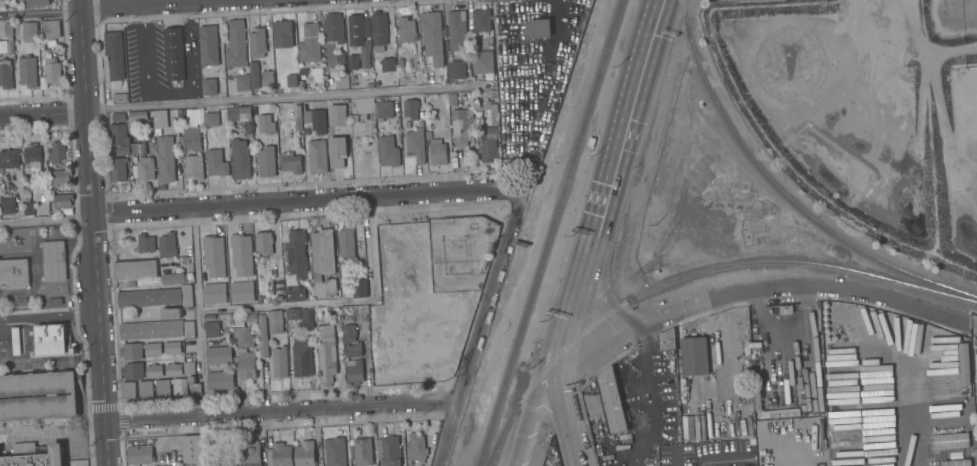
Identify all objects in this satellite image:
building: (37, 2)
road: (141, 3)
road: (39, 12)
building: (482, 25)
building: (333, 28)
building: (51, 29)
building: (538, 29)
building: (8, 30)
building: (378, 30)
building: (406, 30)
building: (457, 30)
building: (727, 30)
building: (739, 30)
building: (27, 31)
building: (282, 34)
building: (432, 36)
building: (360, 37)
building: (257, 43)
building: (236, 44)
building: (310, 44)
building: (208, 45)
road: (553, 49)
building: (174, 54)
building: (114, 57)
building: (340, 57)
building: (400, 62)
building: (482, 62)
building: (790, 63)
building: (388, 64)
building: (52, 69)
building: (456, 70)
building: (27, 72)
building: (5, 74)
building: (254, 74)
building: (267, 78)
building: (291, 81)
building: (242, 82)
building: (209, 86)
building: (120, 97)
building: (444, 97)
building: (475, 98)
road: (290, 99)
building: (452, 99)
building: (410, 109)
building: (384, 110)
building: (239, 113)
road: (42, 114)
building: (182, 115)
building: (337, 115)
building: (192, 116)
building: (118, 117)
building: (297, 117)
building: (354, 118)
building: (211, 119)
building: (316, 120)
building: (140, 121)
building: (157, 122)
building: (265, 124)
building: (407, 124)
building: (420, 124)
building: (461, 127)
building: (118, 134)
building: (489, 135)
building: (192, 139)
building: (591, 142)
building: (415, 145)
building: (56, 151)
building: (123, 151)
building: (337, 151)
building: (388, 151)
building: (437, 152)
building: (317, 156)
building: (32, 157)
building: (9, 158)
building: (165, 158)
building: (239, 159)
building: (266, 161)
building: (291, 162)
building: (216, 163)
building: (194, 166)
building: (118, 169)
building: (146, 169)
building: (60, 177)
road: (610, 178)
railway: (783, 193)
road: (305, 200)
building: (62, 201)
building: (8, 206)
building: (29, 209)
road: (45, 221)
road: (92, 232)
railway: (549, 233)
building: (346, 241)
building: (145, 243)
building: (263, 243)
building: (167, 244)
road: (369, 249)
building: (322, 251)
building: (297, 253)
building: (185, 259)
building: (58, 260)
building: (47, 261)
building: (459, 269)
building: (135, 270)
building: (14, 273)
railway: (692, 275)
building: (173, 278)
building: (130, 283)
building: (324, 287)
building: (359, 288)
road: (750, 291)
building: (294, 293)
building: (156, 297)
building: (58, 301)
building: (51, 302)
road: (286, 306)
building: (171, 313)
building: (292, 313)
road: (48, 316)
building: (250, 317)
building: (307, 319)
building: (275, 321)
road: (479, 327)
road: (972, 328)
building: (212, 329)
building: (157, 330)
building: (349, 333)
road: (200, 336)
building: (263, 336)
building: (244, 337)
building: (51, 339)
building: (667, 340)
building: (16, 341)
road: (80, 341)
building: (172, 347)
building: (153, 349)
building: (73, 350)
building: (353, 350)
building: (131, 352)
building: (326, 354)
building: (219, 355)
building: (694, 356)
building: (301, 357)
building: (280, 362)
building: (245, 365)
building: (189, 368)
building: (173, 369)
building: (975, 370)
building: (132, 371)
building: (154, 371)
building: (354, 371)
building: (220, 380)
building: (193, 386)
building: (179, 387)
building: (162, 388)
building: (145, 389)
building: (129, 390)
building: (38, 396)
building: (612, 401)
building: (592, 402)
road: (904, 407)
road: (534, 410)
road: (280, 411)
road: (564, 411)
building: (780, 413)
building: (688, 428)
building: (949, 441)
building: (416, 448)
building: (192, 449)
building: (389, 450)
building: (362, 451)
building: (334, 452)
building: (252, 453)
building: (305, 453)
building: (140, 454)
building: (34, 455)
building: (279, 455)
building: (225, 459)
road: (721, 459)
building: (957, 463)

